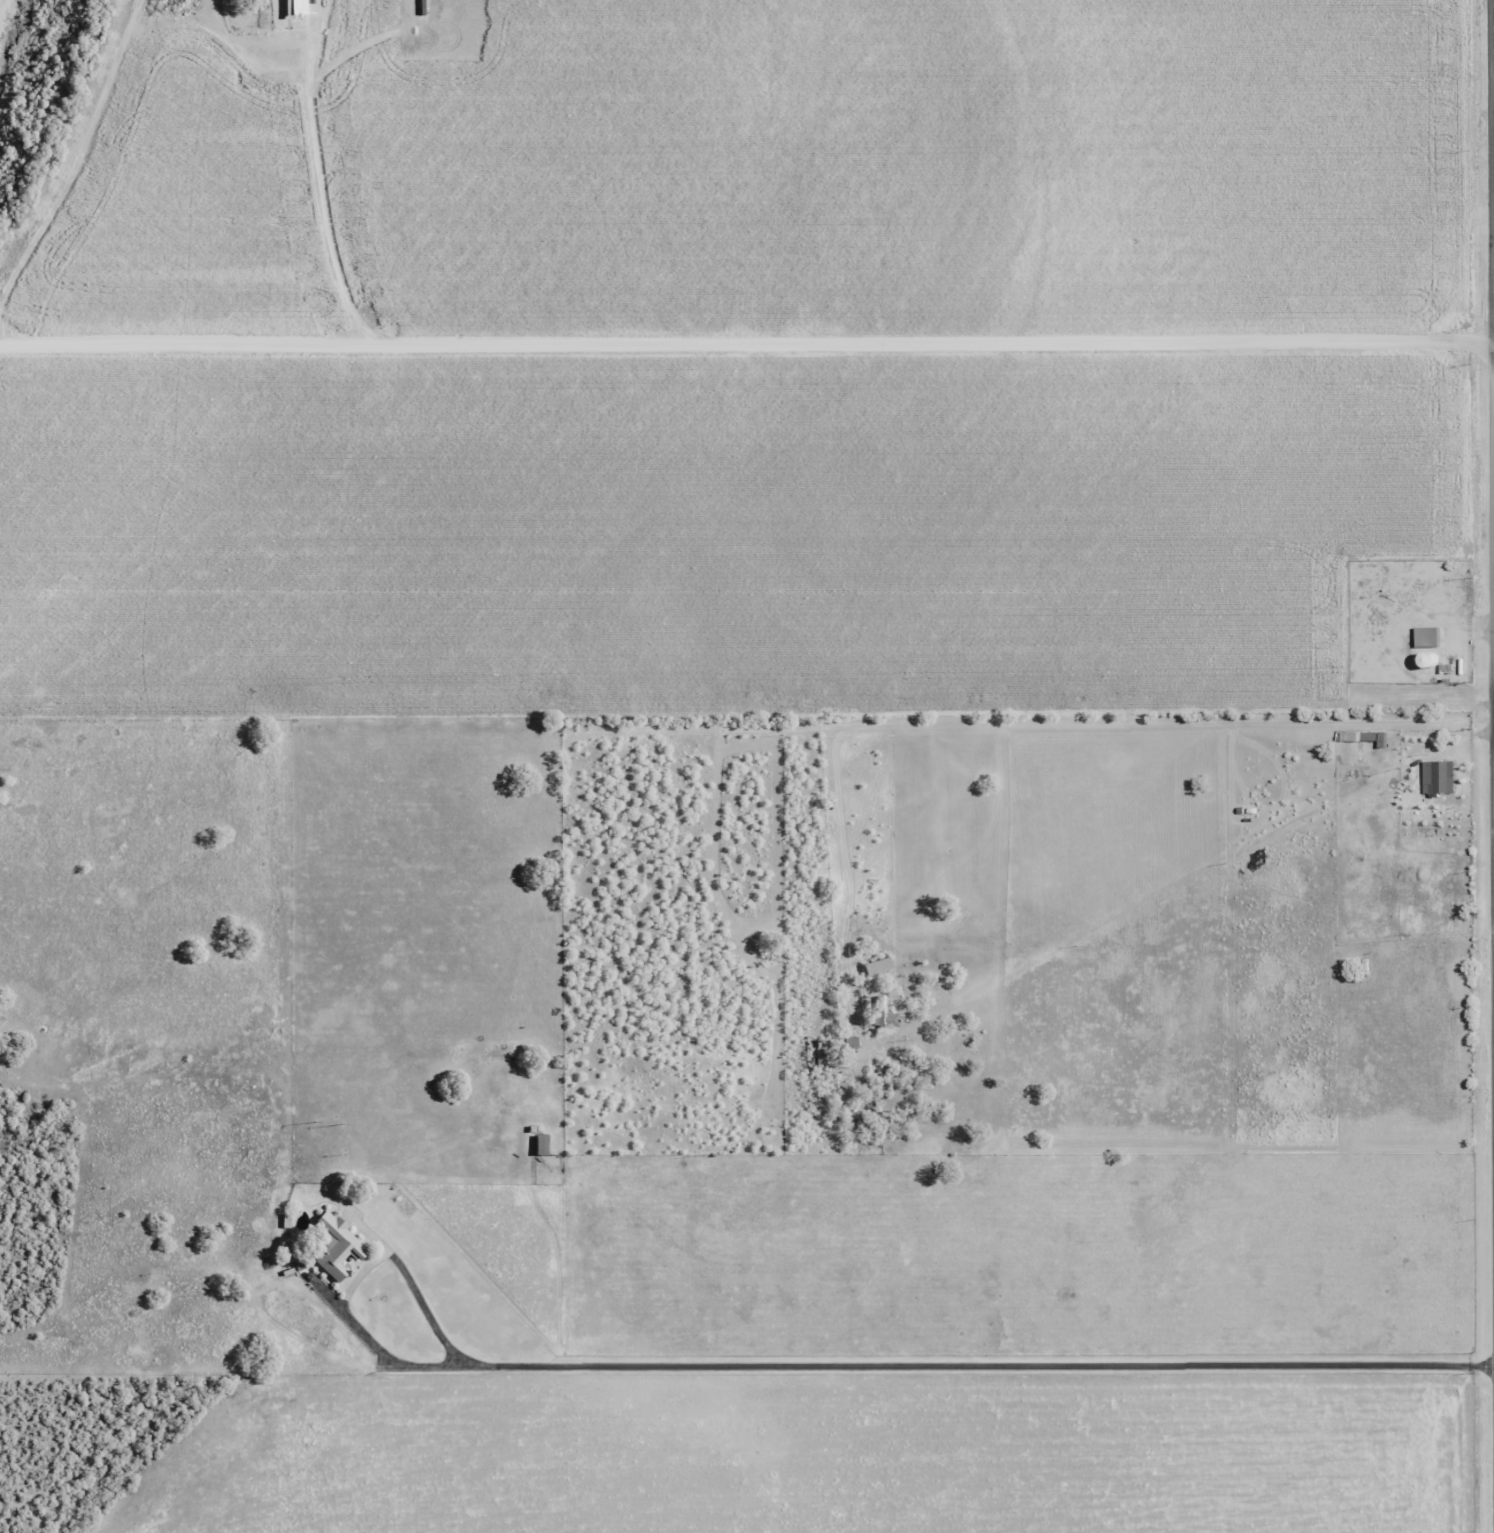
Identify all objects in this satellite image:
building: (1424, 638)
building: (1434, 777)
building: (875, 965)
building: (884, 1013)
building: (540, 1144)
building: (336, 1247)
road: (897, 1371)

